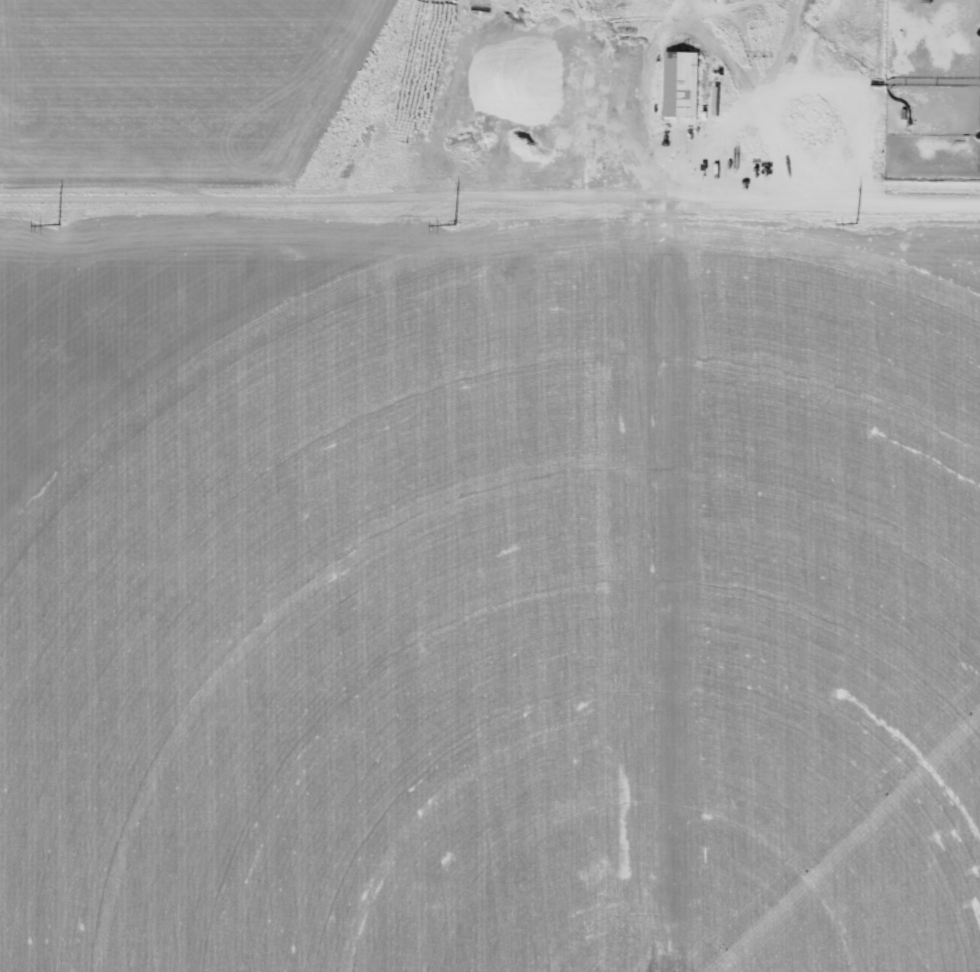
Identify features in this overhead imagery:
road: (780, 39)
road: (439, 73)
building: (682, 84)
road: (490, 202)

